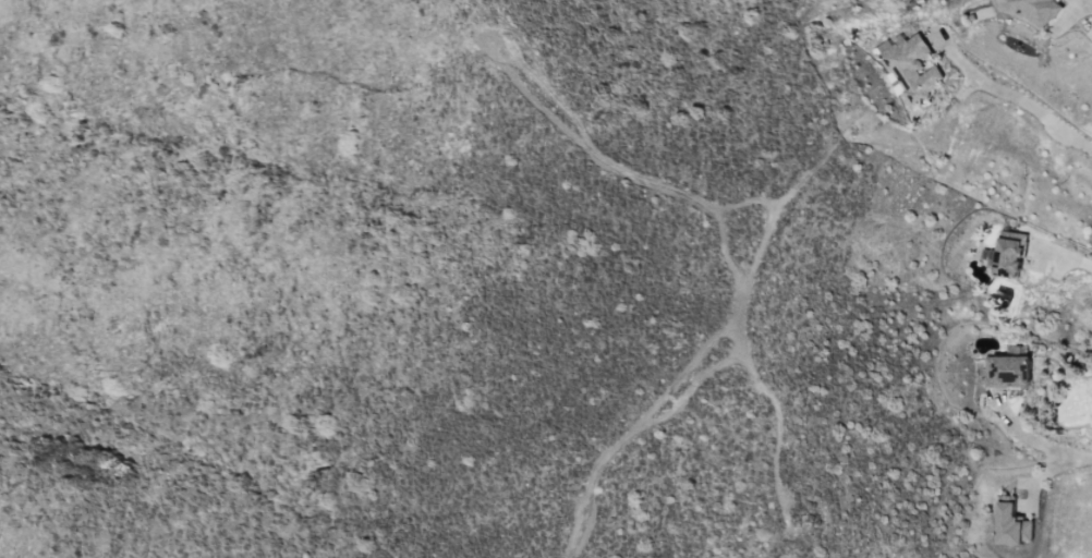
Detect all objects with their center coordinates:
road: (1091, 0)
road: (1065, 8)
building: (1039, 10)
building: (913, 69)
road: (1012, 96)
building: (1011, 253)
road: (1060, 253)
building: (1009, 367)
road: (1070, 454)
building: (1015, 525)

